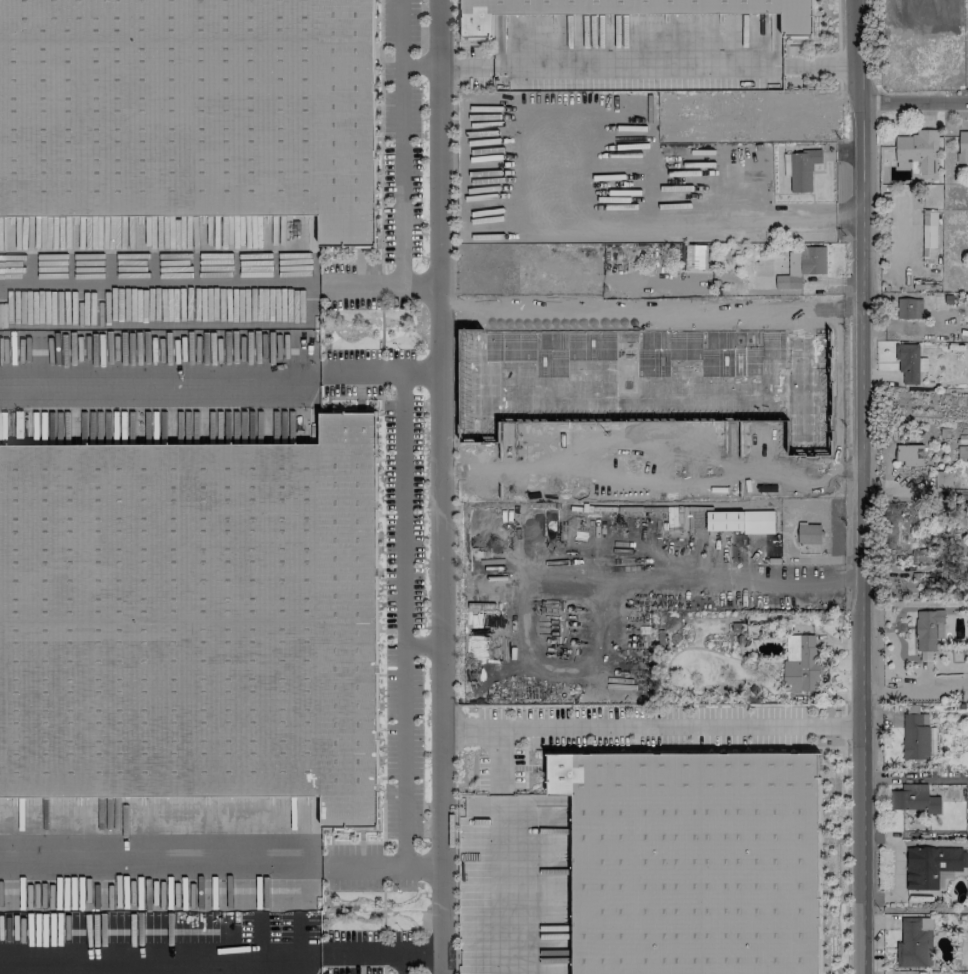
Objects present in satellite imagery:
building: (635, 10)
road: (417, 65)
road: (643, 65)
road: (916, 102)
building: (190, 110)
road: (399, 141)
building: (962, 146)
building: (917, 149)
building: (803, 170)
road: (696, 222)
building: (929, 234)
building: (694, 256)
building: (801, 267)
road: (377, 283)
road: (159, 284)
road: (651, 305)
building: (908, 308)
building: (907, 363)
road: (384, 371)
building: (646, 378)
road: (156, 383)
building: (909, 454)
road: (696, 468)
building: (943, 480)
road: (864, 485)
road: (439, 486)
building: (739, 521)
building: (809, 534)
road: (792, 582)
road: (402, 619)
building: (192, 621)
building: (928, 629)
road: (421, 647)
building: (800, 663)
road: (916, 693)
road: (652, 727)
building: (915, 737)
road: (495, 761)
building: (913, 799)
road: (156, 856)
building: (693, 861)
road: (386, 867)
building: (932, 867)
road: (498, 884)
building: (914, 943)
road: (221, 955)
road: (404, 964)

